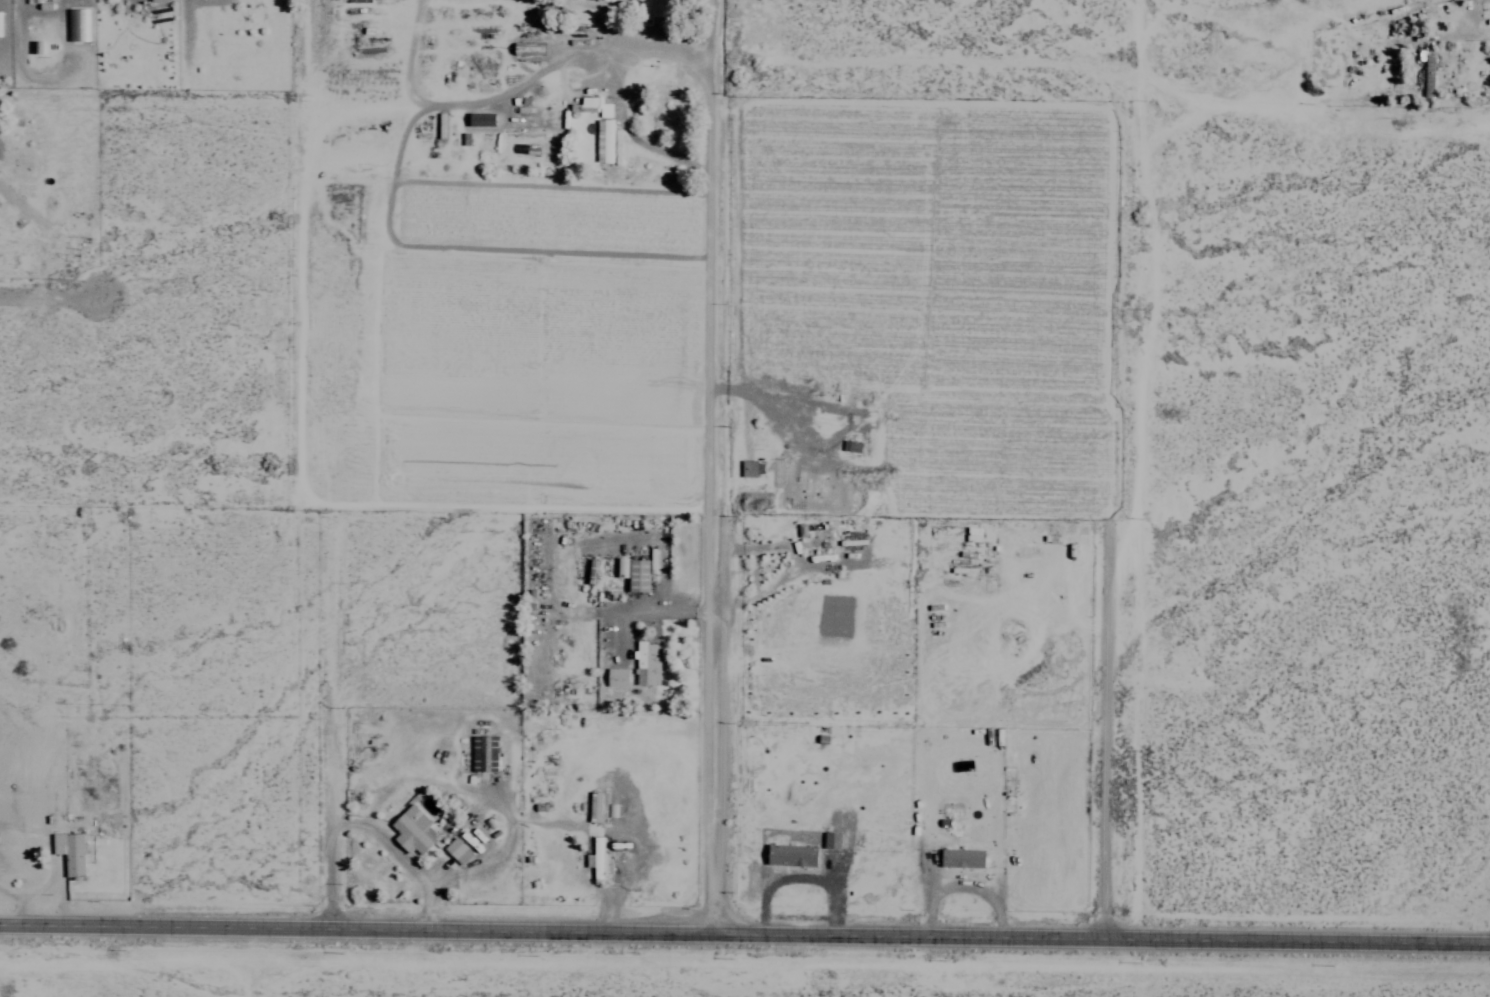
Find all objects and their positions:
building: (158, 0)
building: (656, 8)
building: (78, 25)
building: (588, 102)
road: (1336, 112)
building: (479, 119)
building: (603, 141)
road: (49, 291)
building: (747, 467)
road: (712, 509)
building: (620, 566)
building: (636, 575)
road: (1108, 642)
building: (645, 663)
building: (615, 677)
building: (482, 753)
building: (599, 806)
building: (411, 830)
building: (830, 840)
building: (456, 850)
building: (69, 851)
building: (790, 854)
building: (597, 858)
building: (960, 858)
road: (334, 870)
road: (744, 931)

